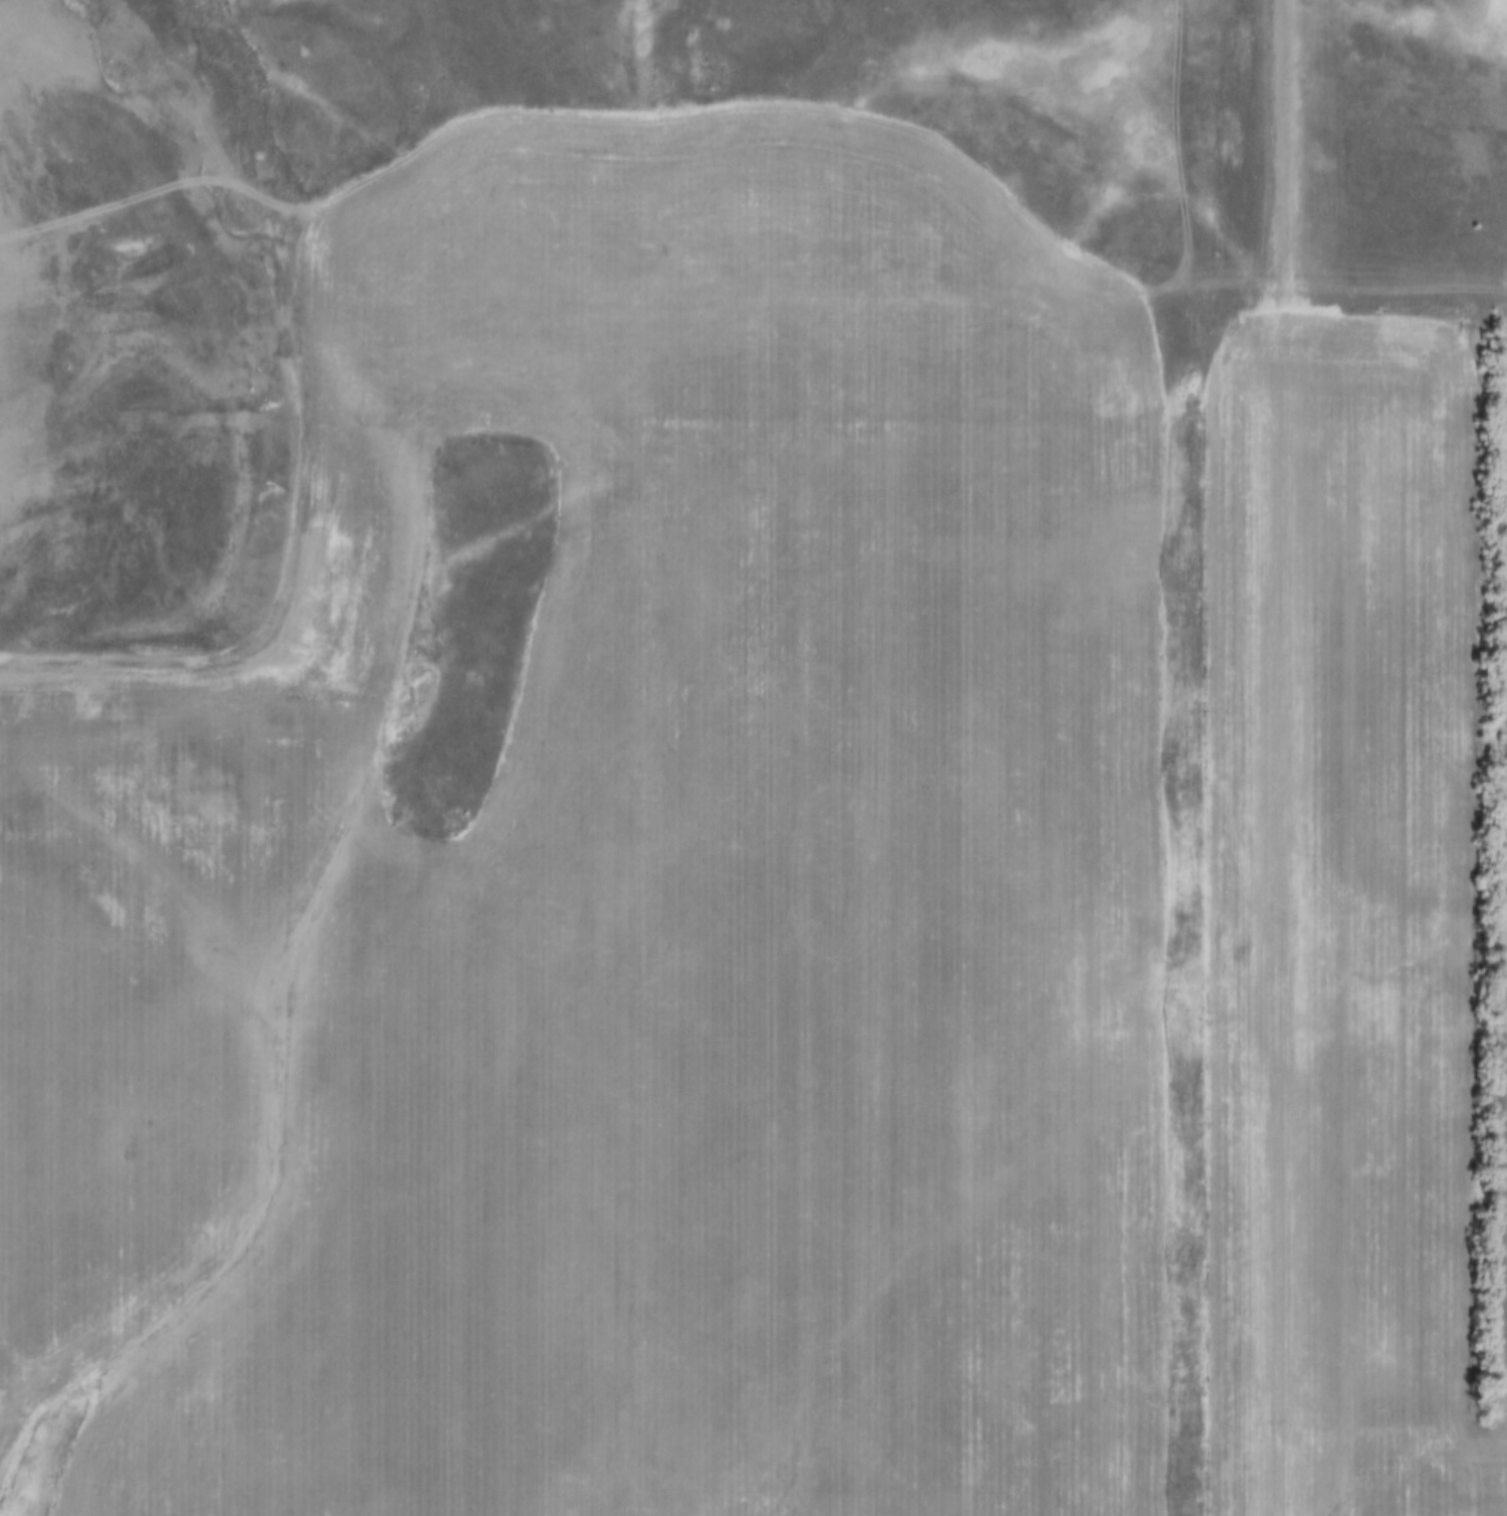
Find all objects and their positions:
road: (1242, 247)

